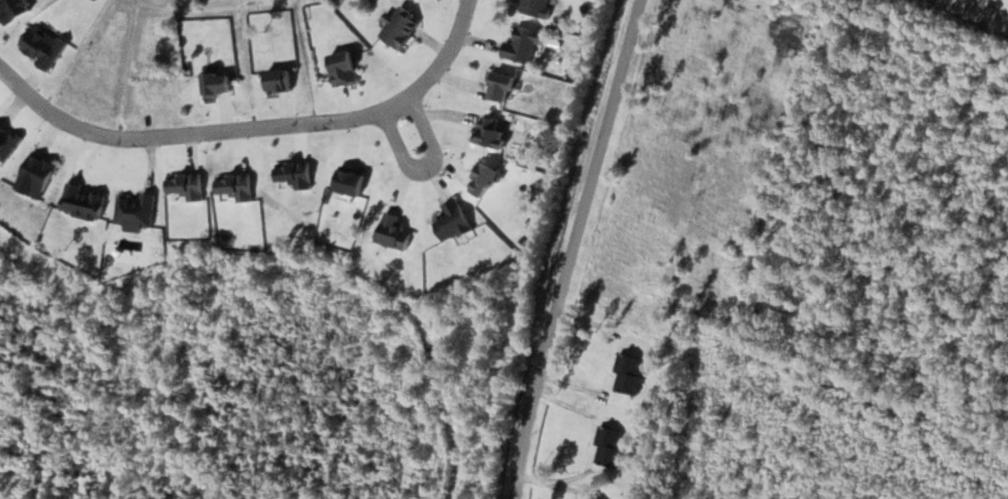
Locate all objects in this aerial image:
building: (536, 8)
building: (399, 27)
building: (41, 45)
building: (522, 45)
building: (342, 67)
building: (277, 80)
building: (215, 83)
building: (499, 86)
building: (0, 126)
road: (253, 128)
building: (488, 132)
building: (6, 144)
road: (427, 166)
building: (34, 176)
building: (349, 180)
building: (82, 201)
building: (134, 211)
building: (451, 221)
building: (393, 231)
road: (571, 248)
building: (628, 374)
building: (608, 446)
building: (588, 498)

